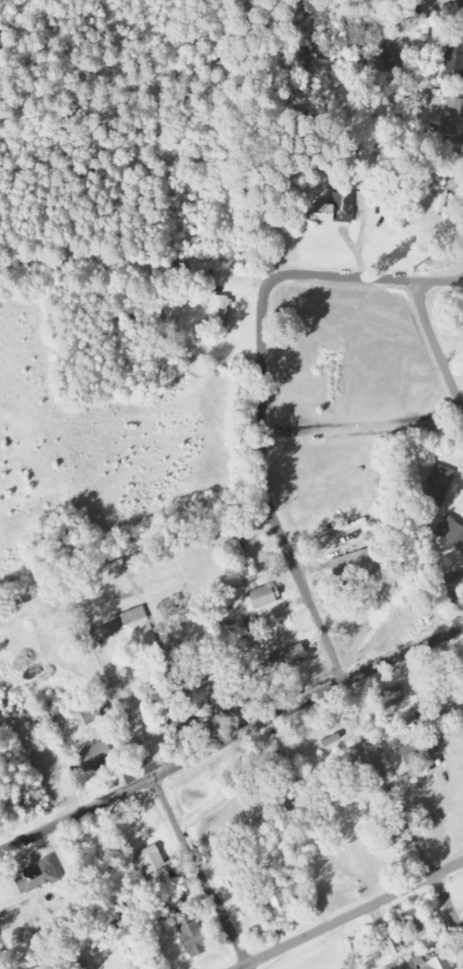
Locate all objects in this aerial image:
road: (363, 280)
road: (438, 345)
road: (319, 621)
road: (229, 742)
road: (200, 871)
road: (360, 917)
road: (6, 955)

